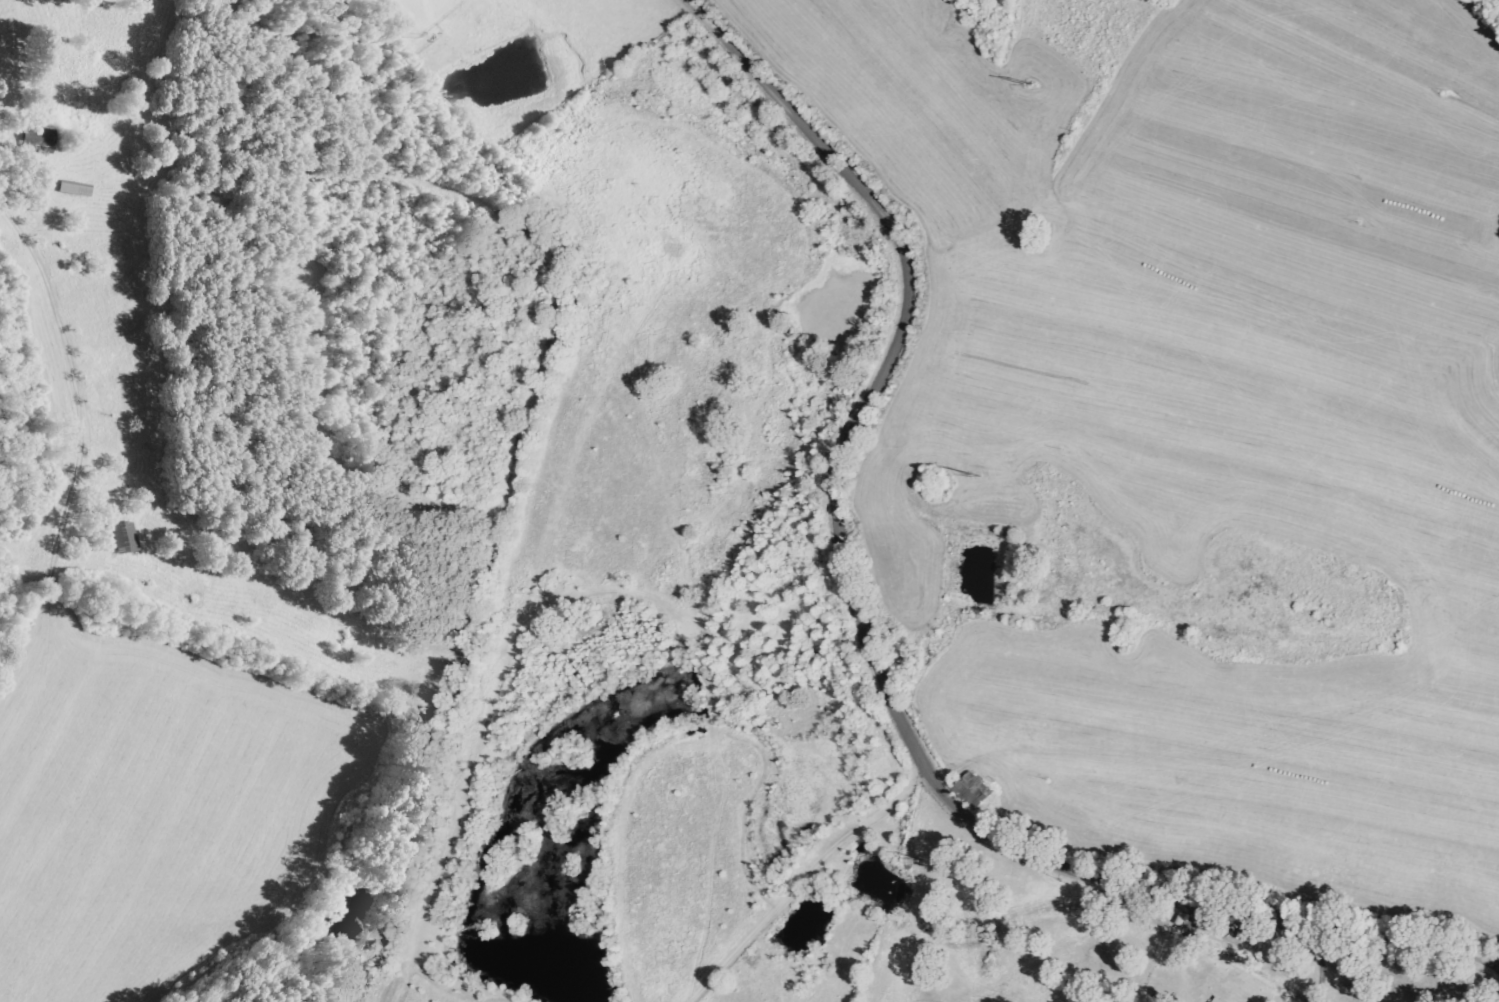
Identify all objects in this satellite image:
building: (42, 139)
road: (60, 376)
building: (125, 538)
road: (856, 661)
building: (974, 791)
building: (1221, 1000)

